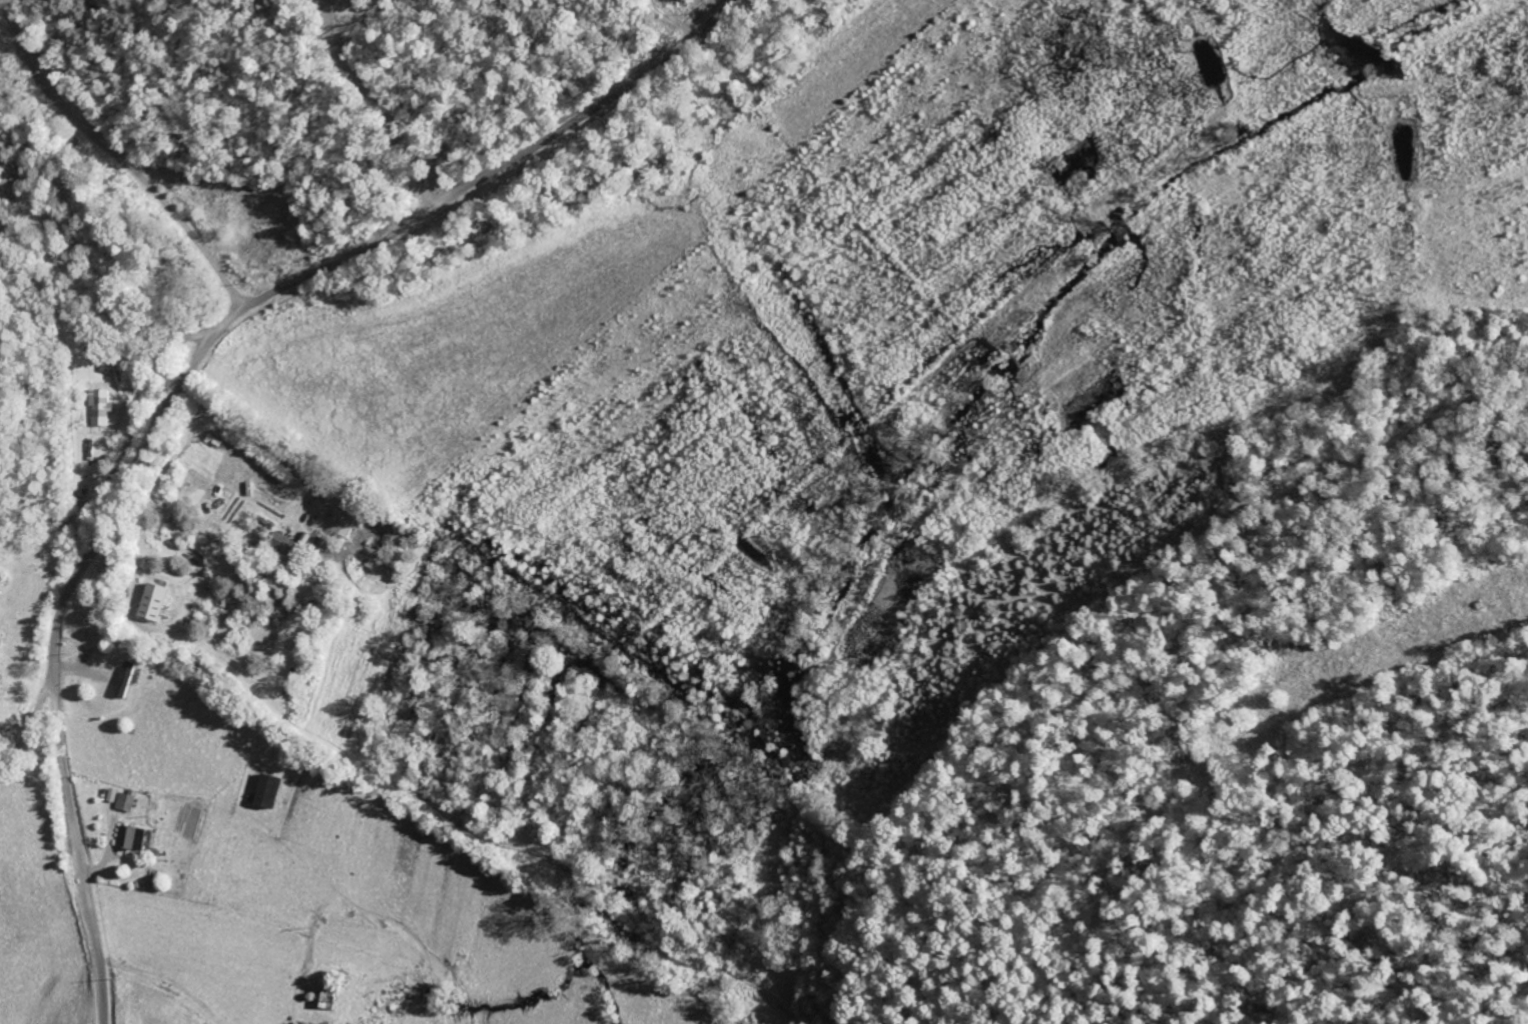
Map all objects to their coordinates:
road: (261, 295)
building: (101, 407)
building: (349, 521)
building: (287, 546)
building: (154, 602)
park: (89, 603)
building: (125, 679)
road: (30, 727)
road: (33, 793)
building: (265, 793)
building: (126, 801)
building: (132, 839)
road: (88, 906)
road: (150, 1013)

